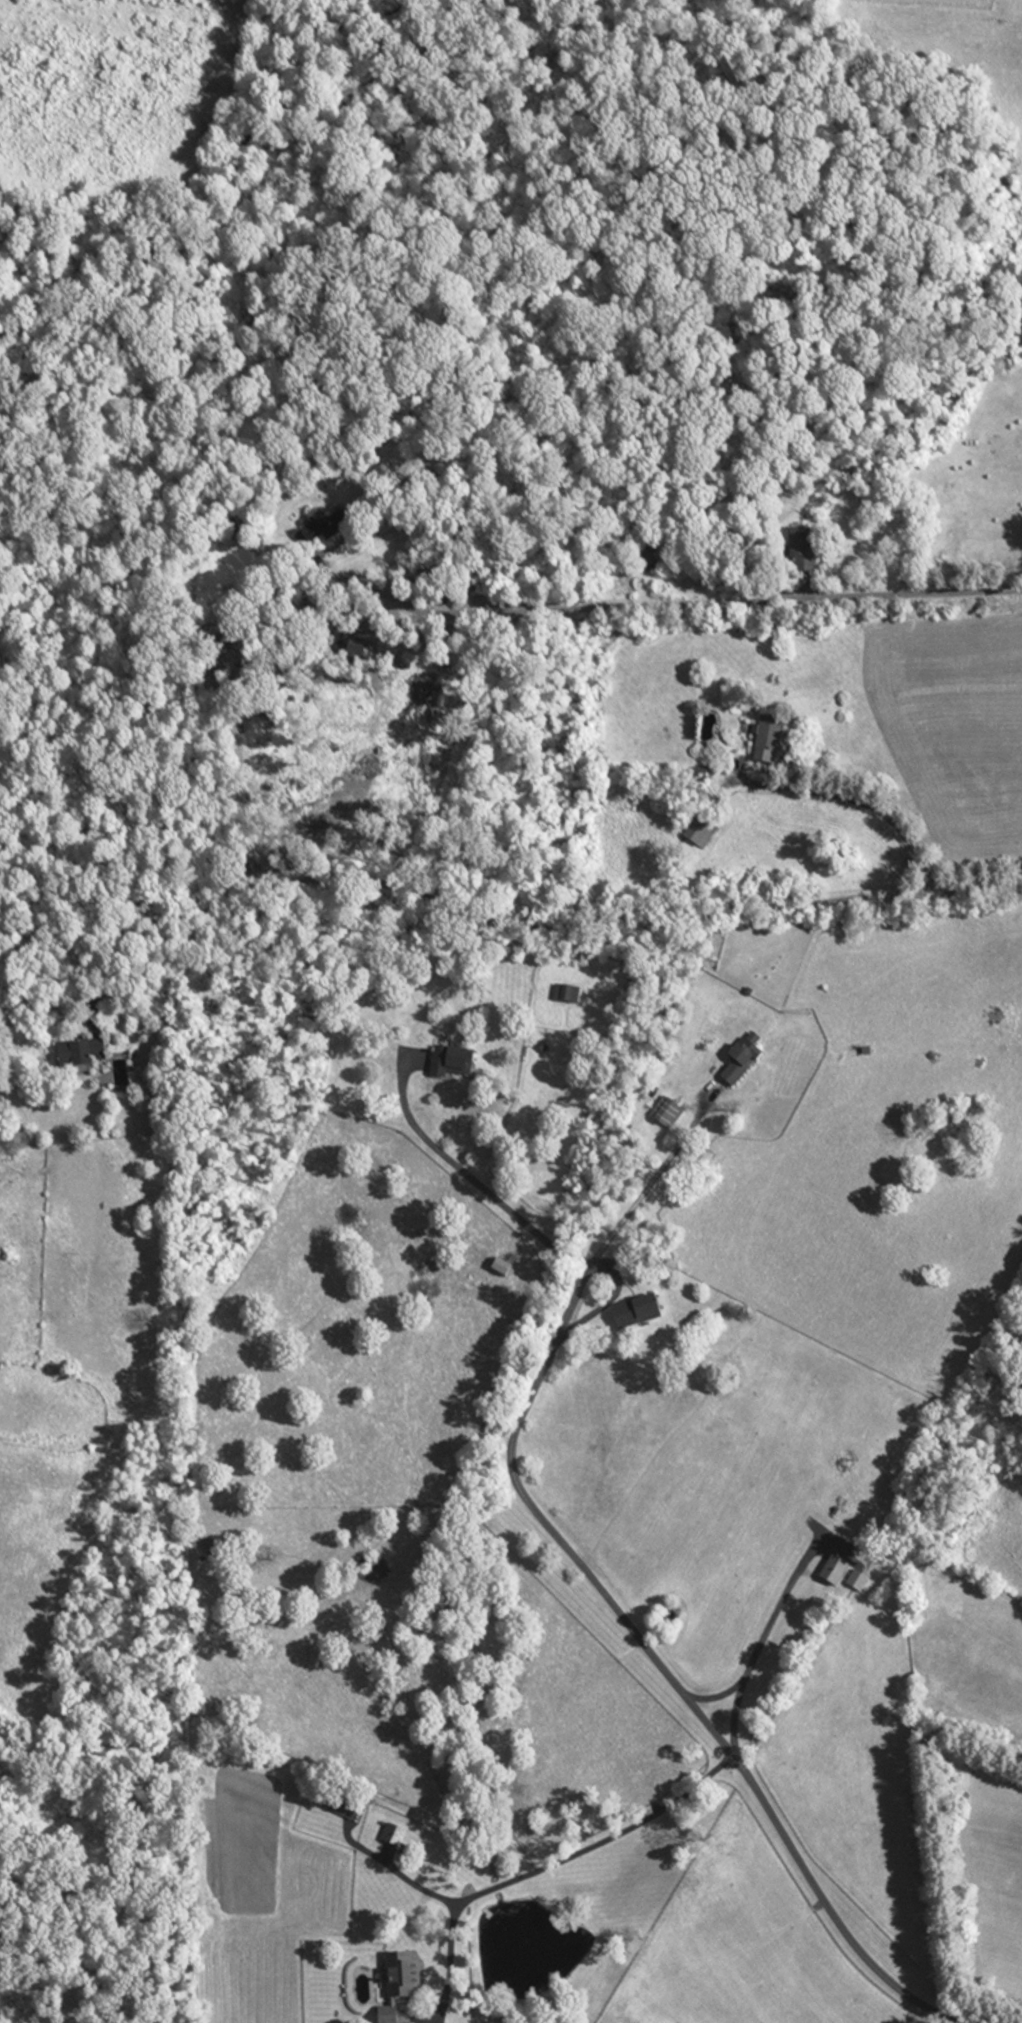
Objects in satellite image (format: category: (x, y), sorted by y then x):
building: (325, 531)
building: (806, 551)
building: (649, 558)
road: (694, 603)
building: (361, 651)
building: (773, 739)
road: (863, 802)
road: (503, 927)
building: (569, 995)
building: (82, 1054)
building: (456, 1063)
building: (744, 1063)
road: (474, 1179)
road: (590, 1261)
building: (505, 1269)
building: (640, 1313)
building: (213, 1547)
building: (837, 1572)
building: (859, 1582)
road: (777, 1608)
road: (737, 1689)
road: (719, 1745)
building: (341, 1810)
building: (396, 1837)
road: (541, 1869)
road: (399, 1872)
building: (403, 1986)

